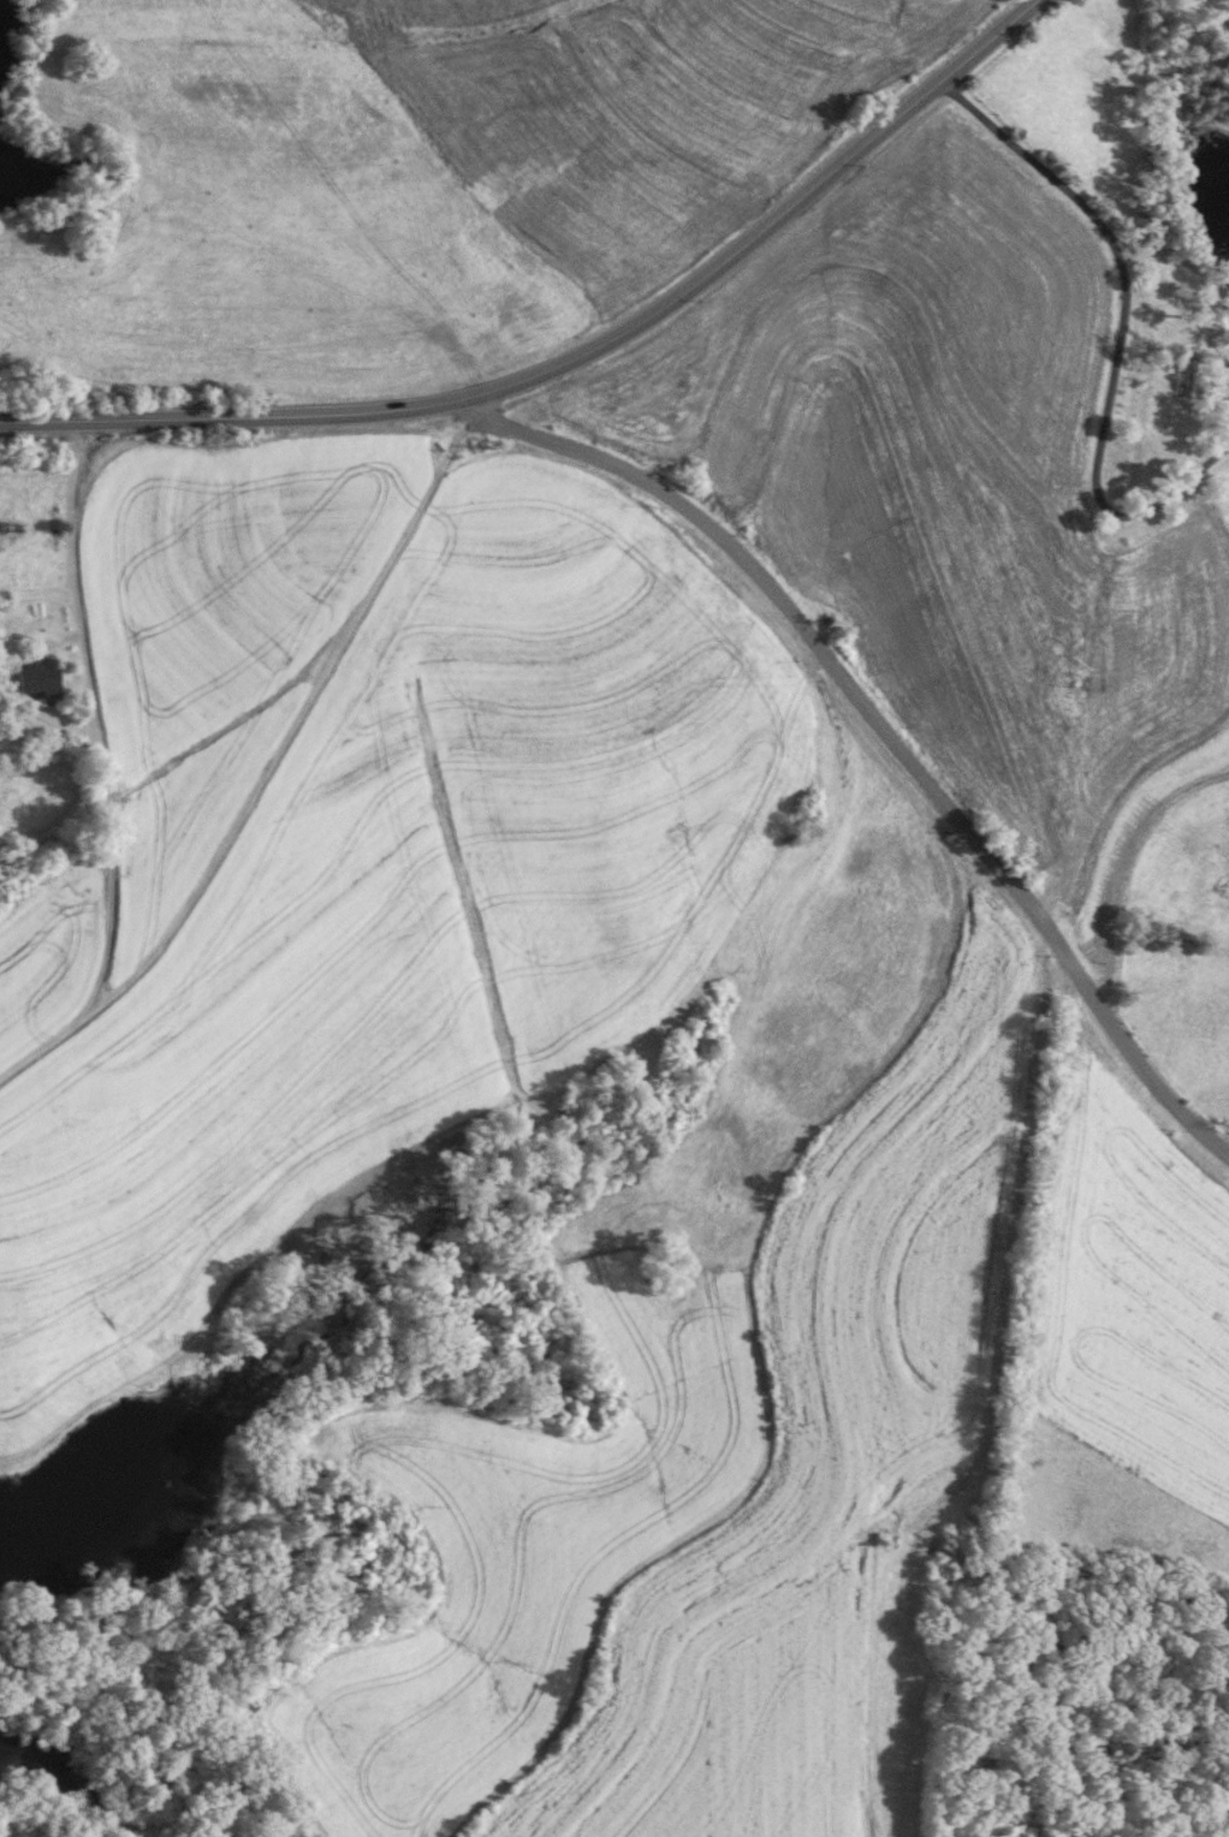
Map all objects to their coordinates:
road: (681, 292)
road: (1123, 331)
building: (1223, 339)
road: (123, 417)
building: (41, 677)
road: (289, 726)
road: (884, 730)
road: (99, 771)

